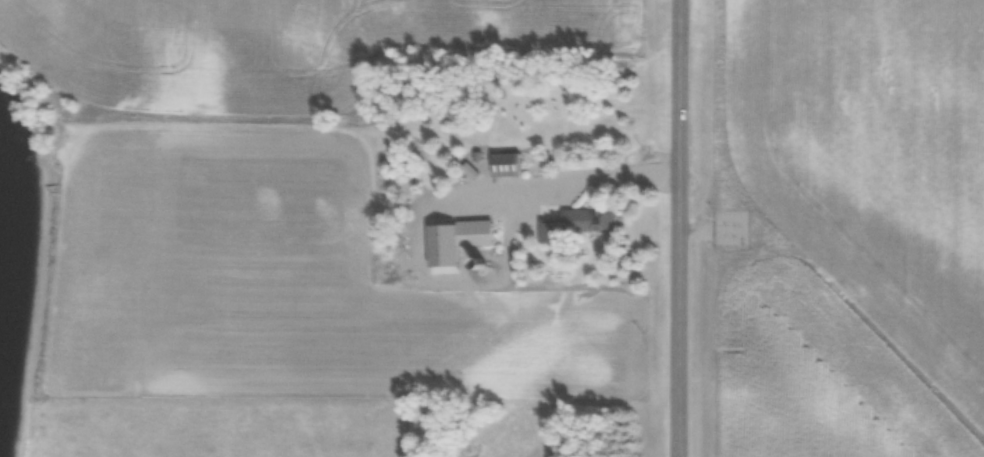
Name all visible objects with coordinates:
building: (507, 166)
road: (581, 177)
building: (593, 221)
road: (681, 228)
building: (457, 241)

